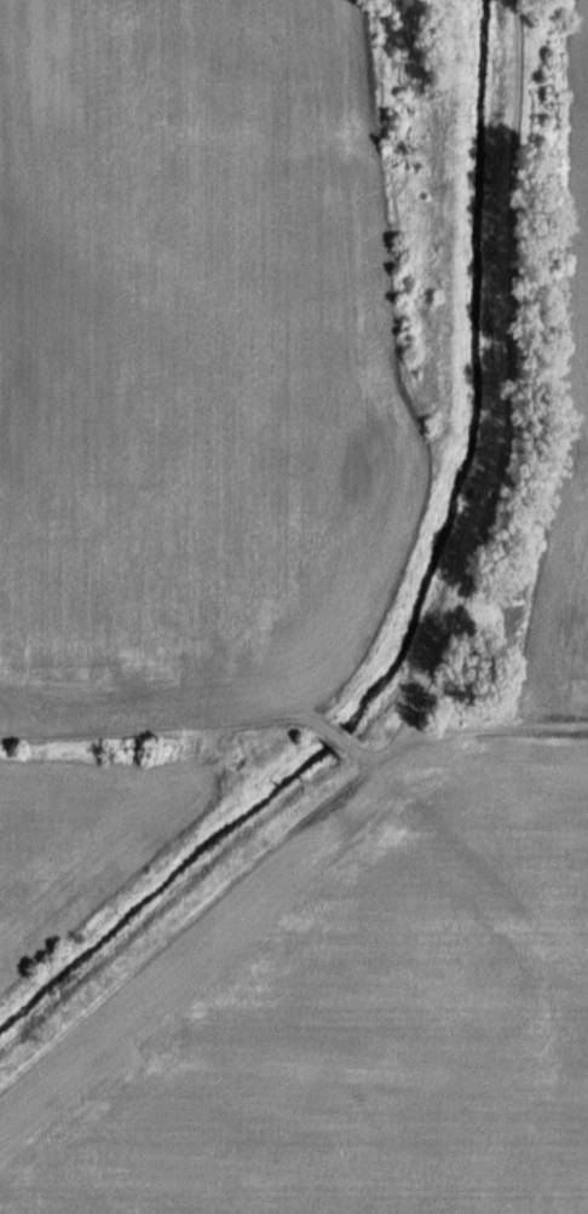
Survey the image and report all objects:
road: (293, 731)

